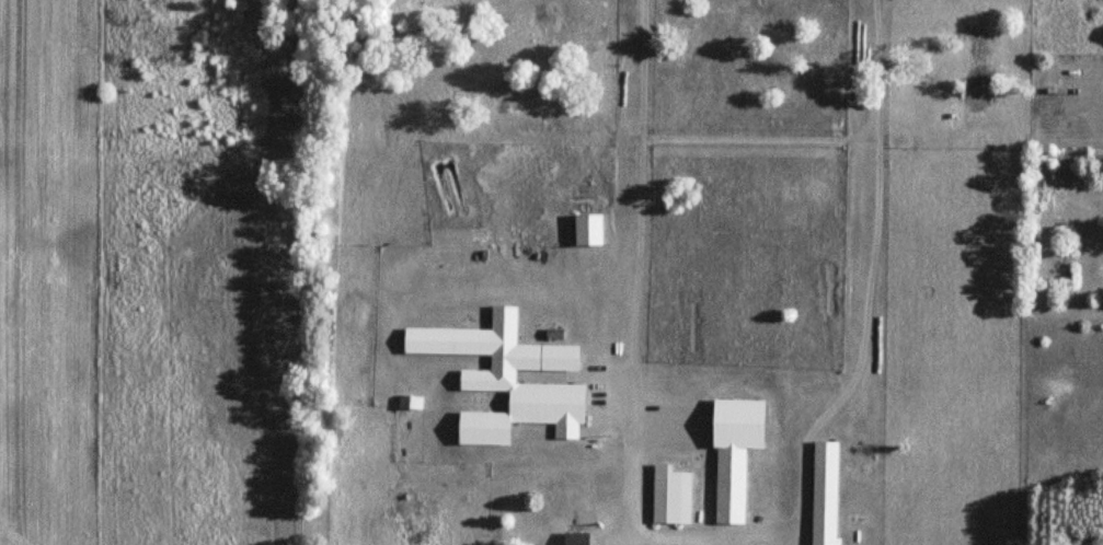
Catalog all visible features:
road: (868, 281)
building: (505, 378)
building: (732, 452)
building: (823, 492)
building: (669, 495)
road: (723, 543)
road: (658, 544)

